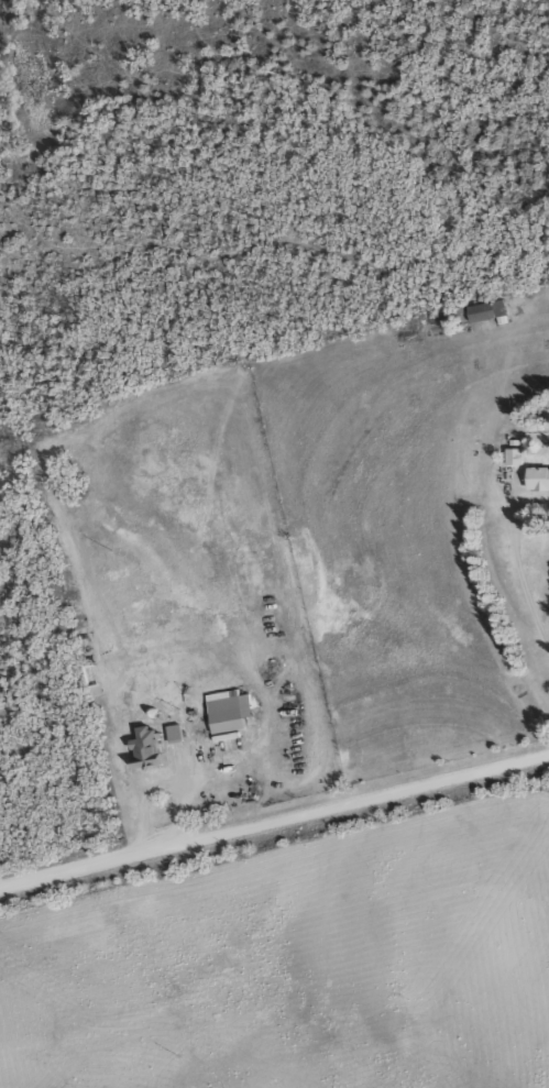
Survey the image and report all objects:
building: (488, 310)
building: (516, 455)
building: (538, 477)
building: (92, 679)
building: (231, 710)
building: (177, 733)
building: (150, 747)
road: (173, 781)
road: (359, 798)
road: (70, 864)

